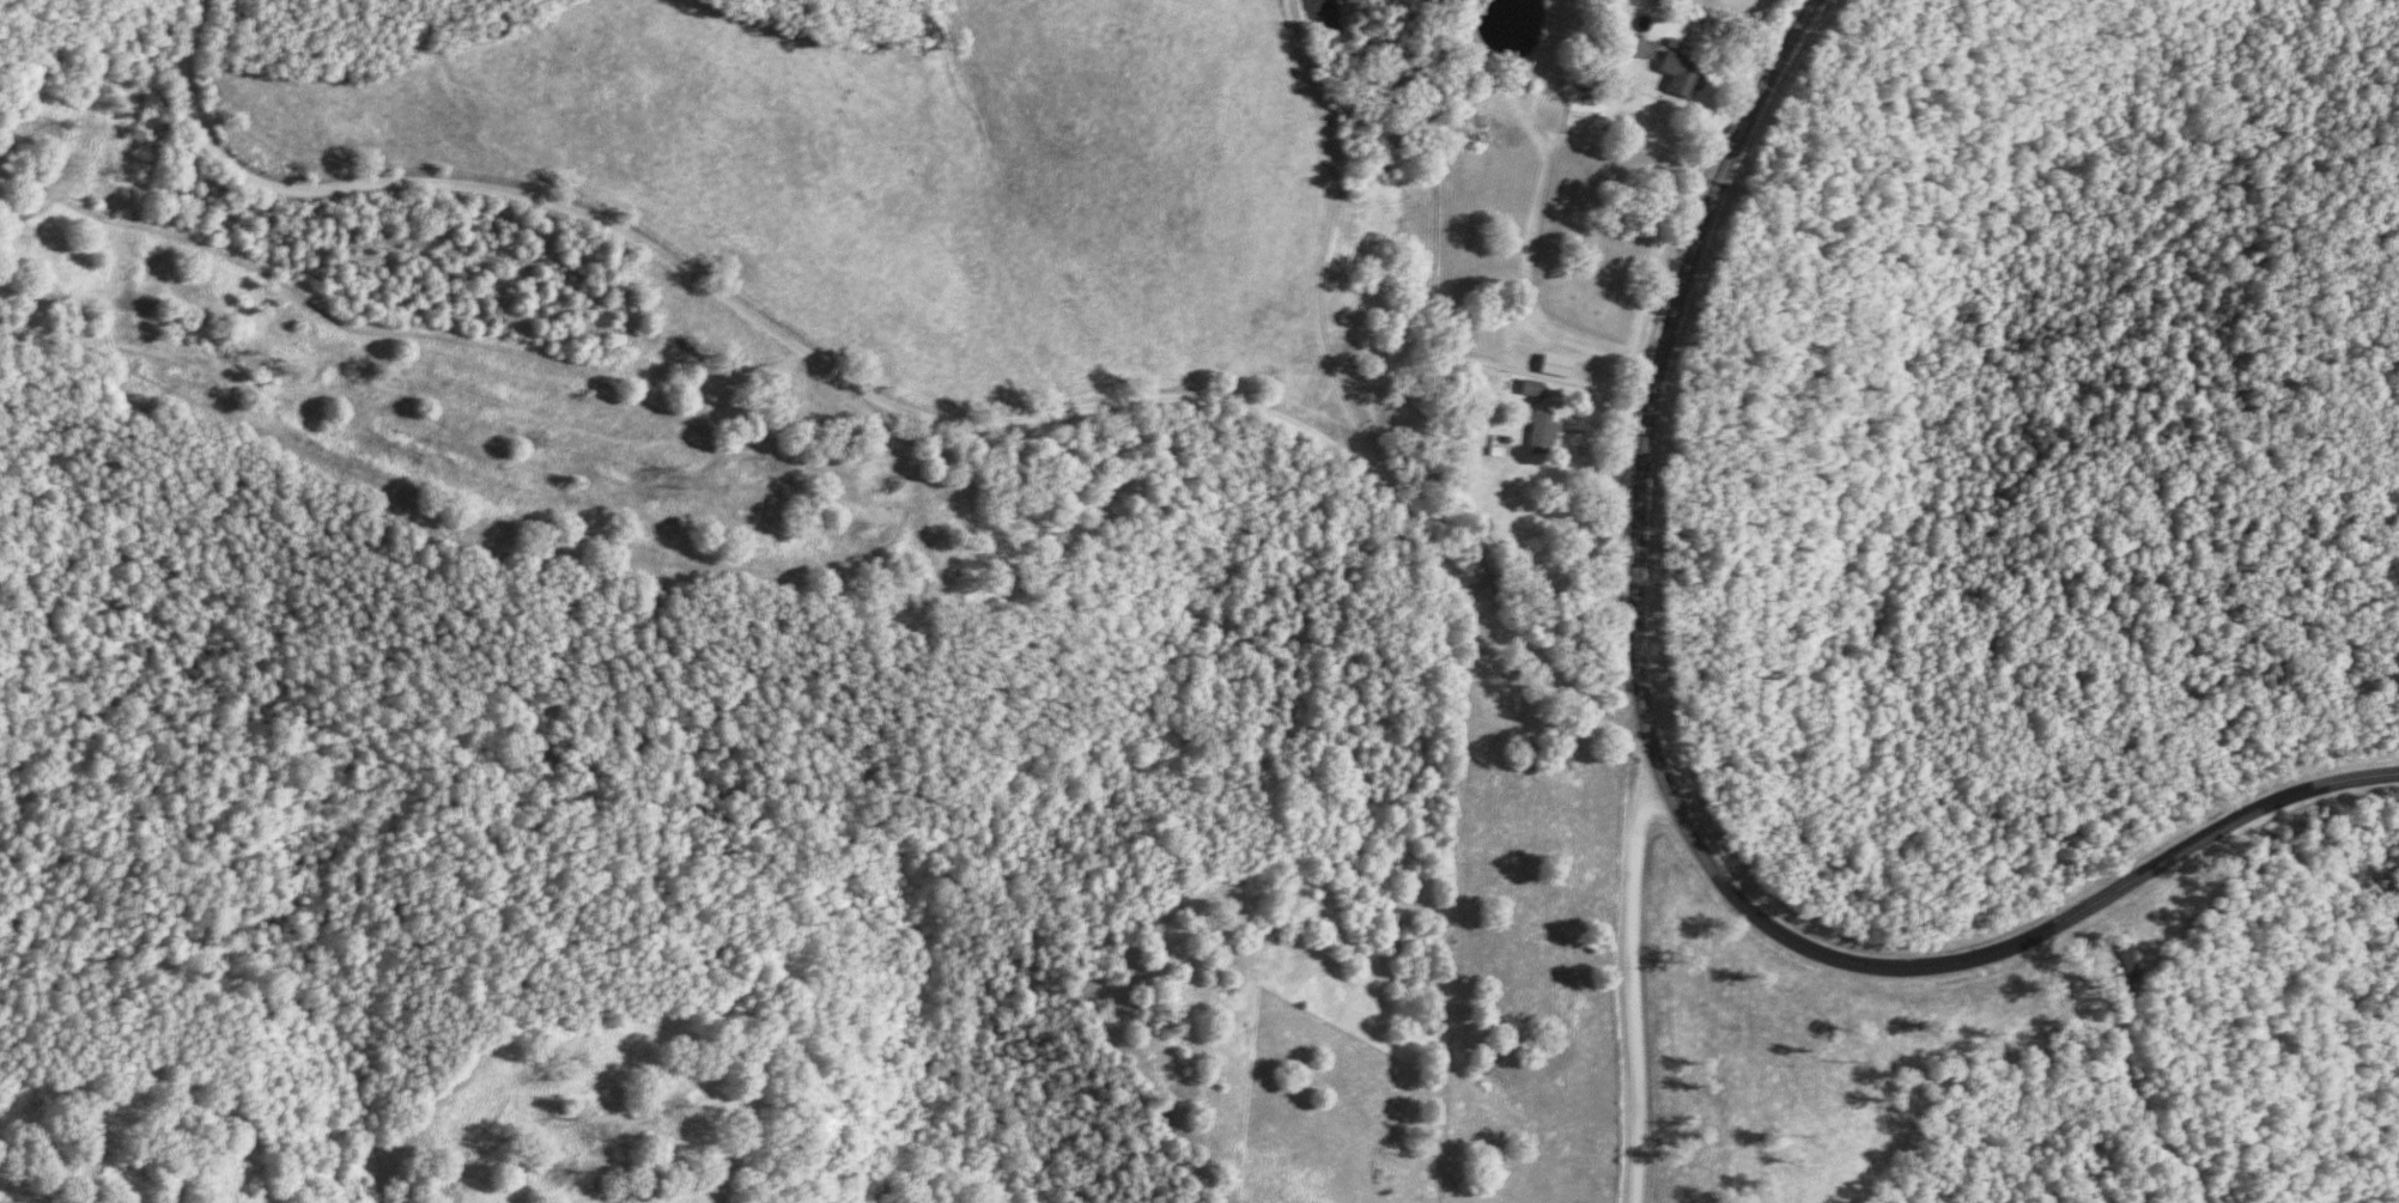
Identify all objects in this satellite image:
building: (1645, 50)
building: (1687, 73)
road: (1329, 256)
road: (882, 400)
building: (1544, 429)
road: (1671, 798)
road: (1638, 990)

